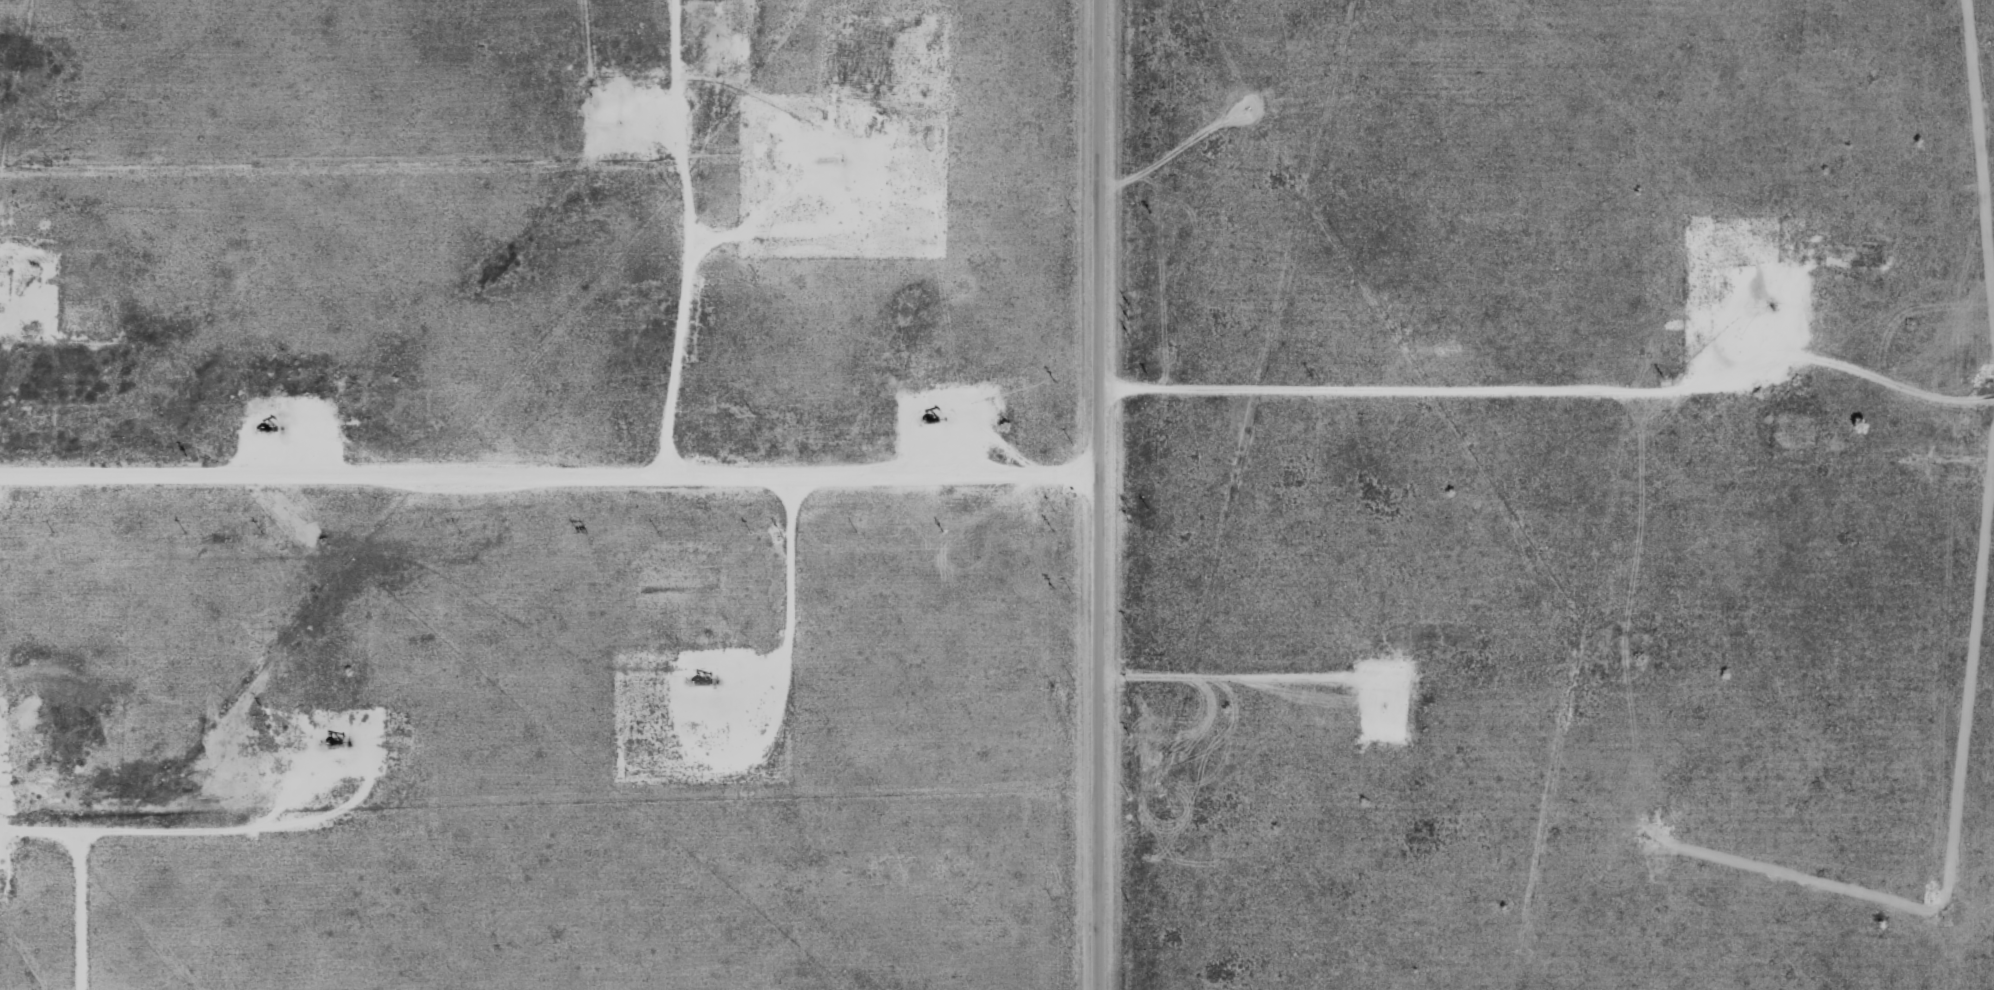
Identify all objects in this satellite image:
road: (539, 445)
road: (1078, 494)
road: (1315, 684)

